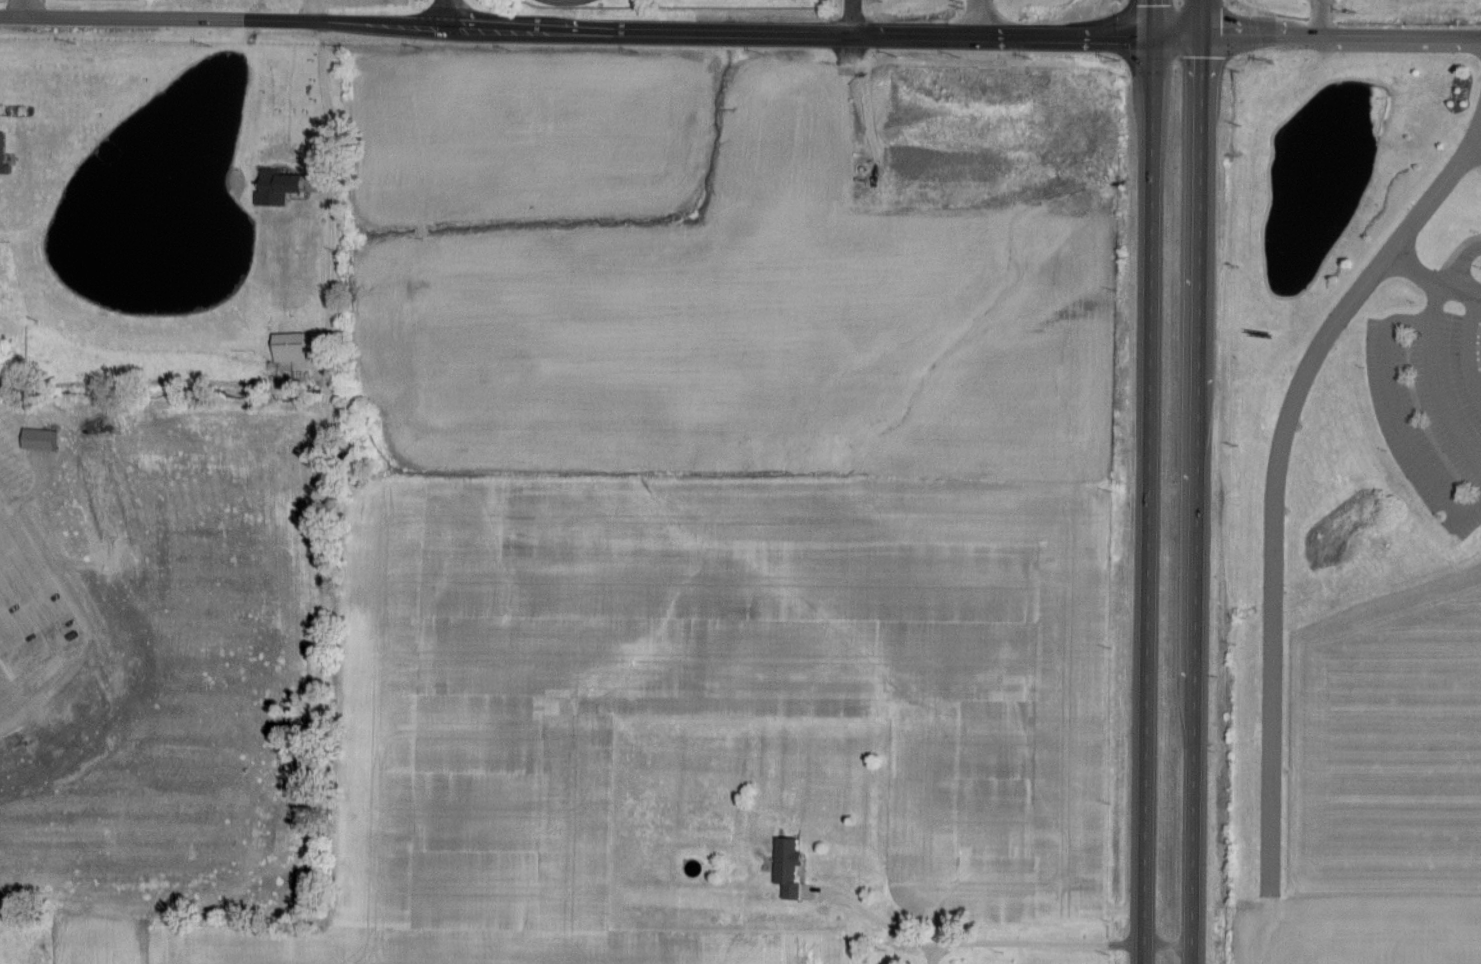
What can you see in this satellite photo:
road: (25, 8)
road: (312, 10)
road: (444, 12)
road: (852, 16)
road: (1155, 16)
road: (1201, 17)
road: (1323, 18)
road: (600, 27)
traffic signals: (1155, 33)
traffic signals: (1201, 35)
road: (1340, 37)
road: (1478, 142)
road: (1453, 256)
road: (327, 264)
road: (1419, 276)
road: (1457, 277)
road: (1468, 348)
road: (1432, 387)
road: (1393, 409)
parking lot: (1432, 409)
road: (1274, 482)
road: (1149, 498)
road: (1194, 499)
road: (1463, 515)
building: (785, 863)
road: (968, 944)
road: (1167, 946)

